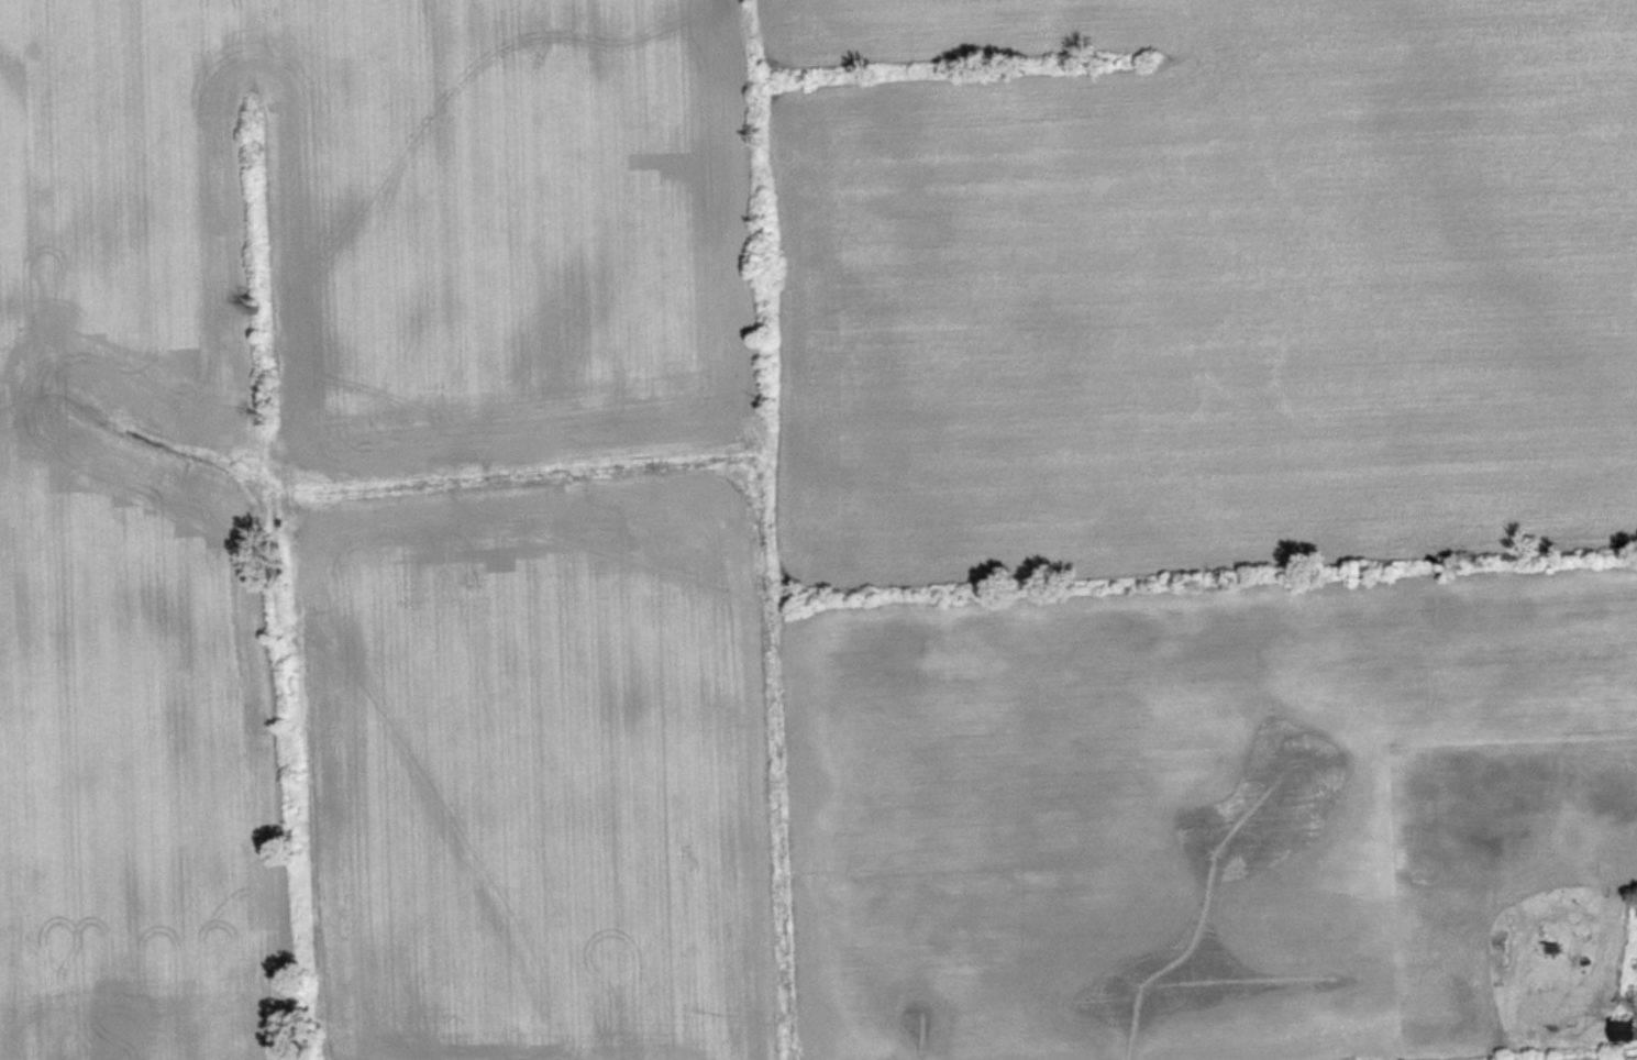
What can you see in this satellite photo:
building: (1621, 1028)

